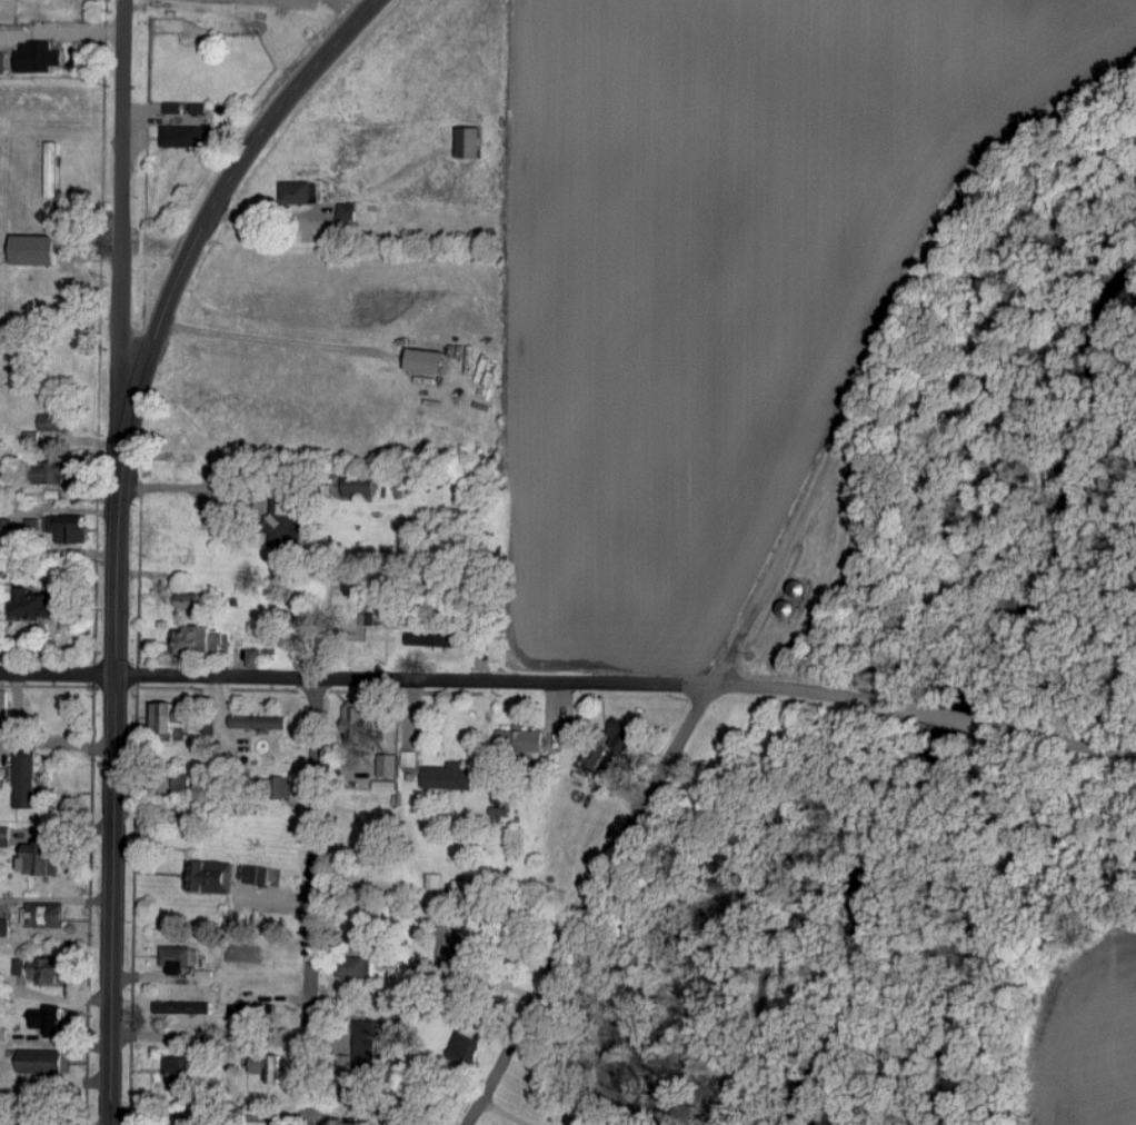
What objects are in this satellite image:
building: (39, 56)
building: (2, 62)
building: (187, 108)
building: (188, 136)
building: (469, 141)
building: (52, 169)
building: (301, 192)
road: (208, 210)
building: (69, 215)
building: (348, 215)
road: (122, 231)
road: (152, 246)
building: (36, 250)
road: (899, 347)
building: (428, 360)
building: (52, 422)
building: (52, 472)
building: (360, 485)
road: (192, 489)
building: (286, 522)
building: (70, 528)
building: (191, 600)
building: (36, 605)
building: (436, 640)
building: (198, 641)
road: (58, 671)
road: (415, 678)
road: (835, 698)
building: (4, 704)
building: (172, 718)
building: (260, 723)
building: (357, 725)
road: (1046, 731)
building: (567, 733)
building: (624, 737)
building: (521, 740)
building: (410, 758)
building: (389, 765)
building: (449, 777)
building: (27, 780)
building: (182, 783)
building: (387, 784)
road: (116, 794)
building: (6, 837)
building: (43, 859)
building: (258, 875)
building: (211, 877)
road: (309, 900)
road: (597, 910)
building: (54, 916)
building: (4, 927)
building: (180, 959)
road: (270, 962)
building: (356, 967)
building: (50, 973)
building: (183, 1007)
building: (50, 1022)
building: (3, 1034)
building: (247, 1038)
building: (368, 1042)
building: (466, 1049)
building: (43, 1062)
building: (261, 1068)
building: (277, 1069)
building: (186, 1074)
building: (355, 1103)

